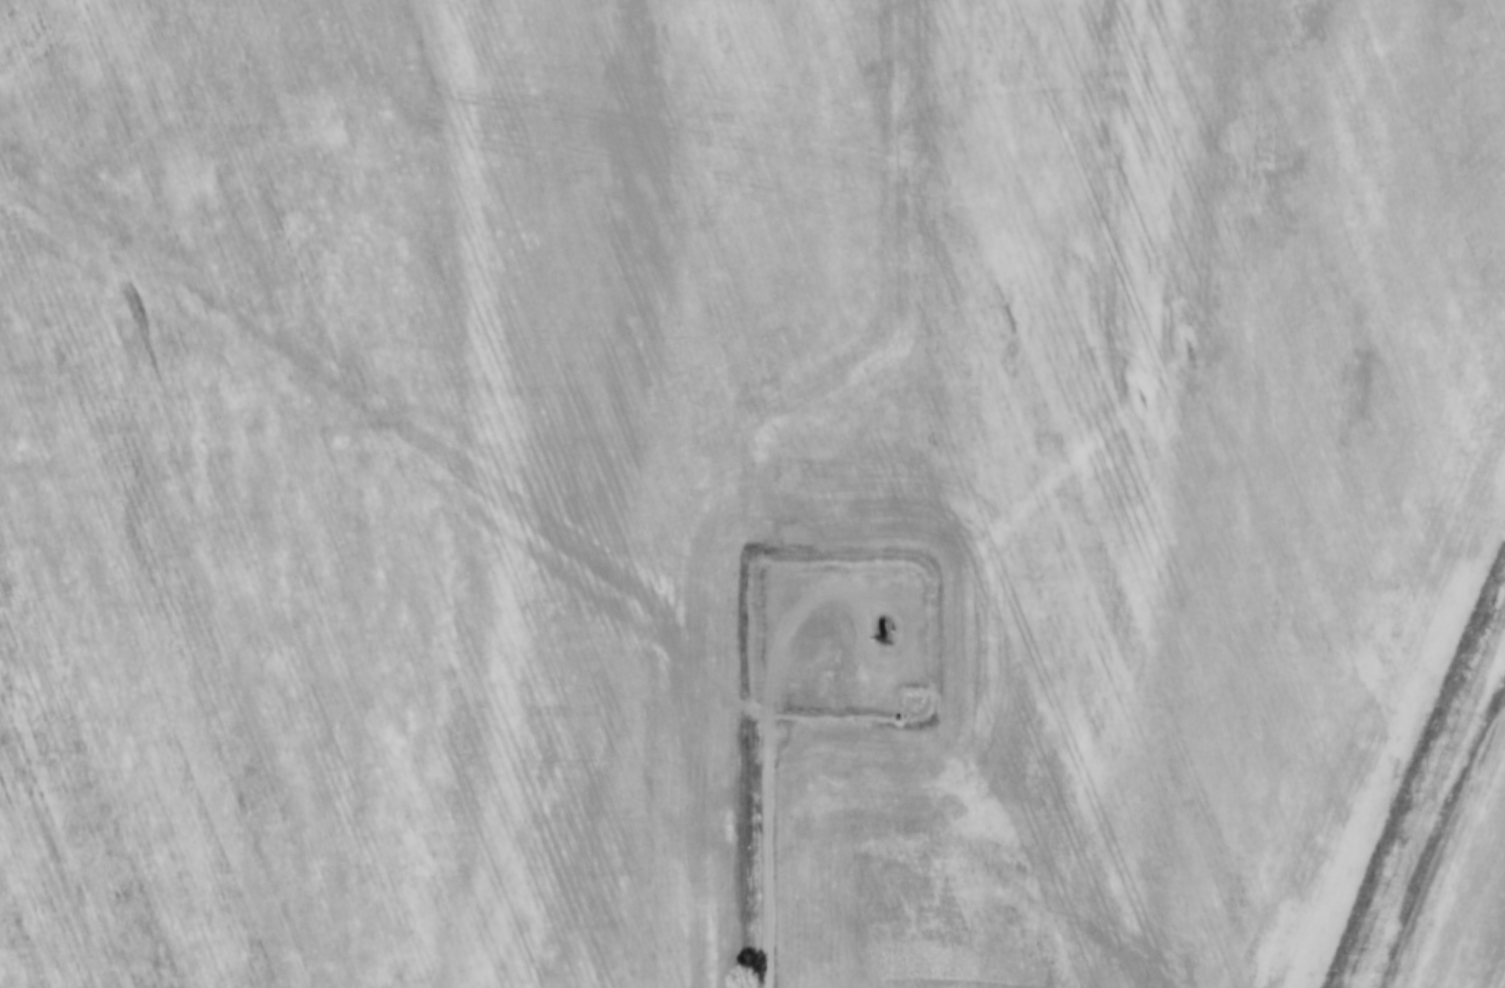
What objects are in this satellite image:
road: (772, 780)

